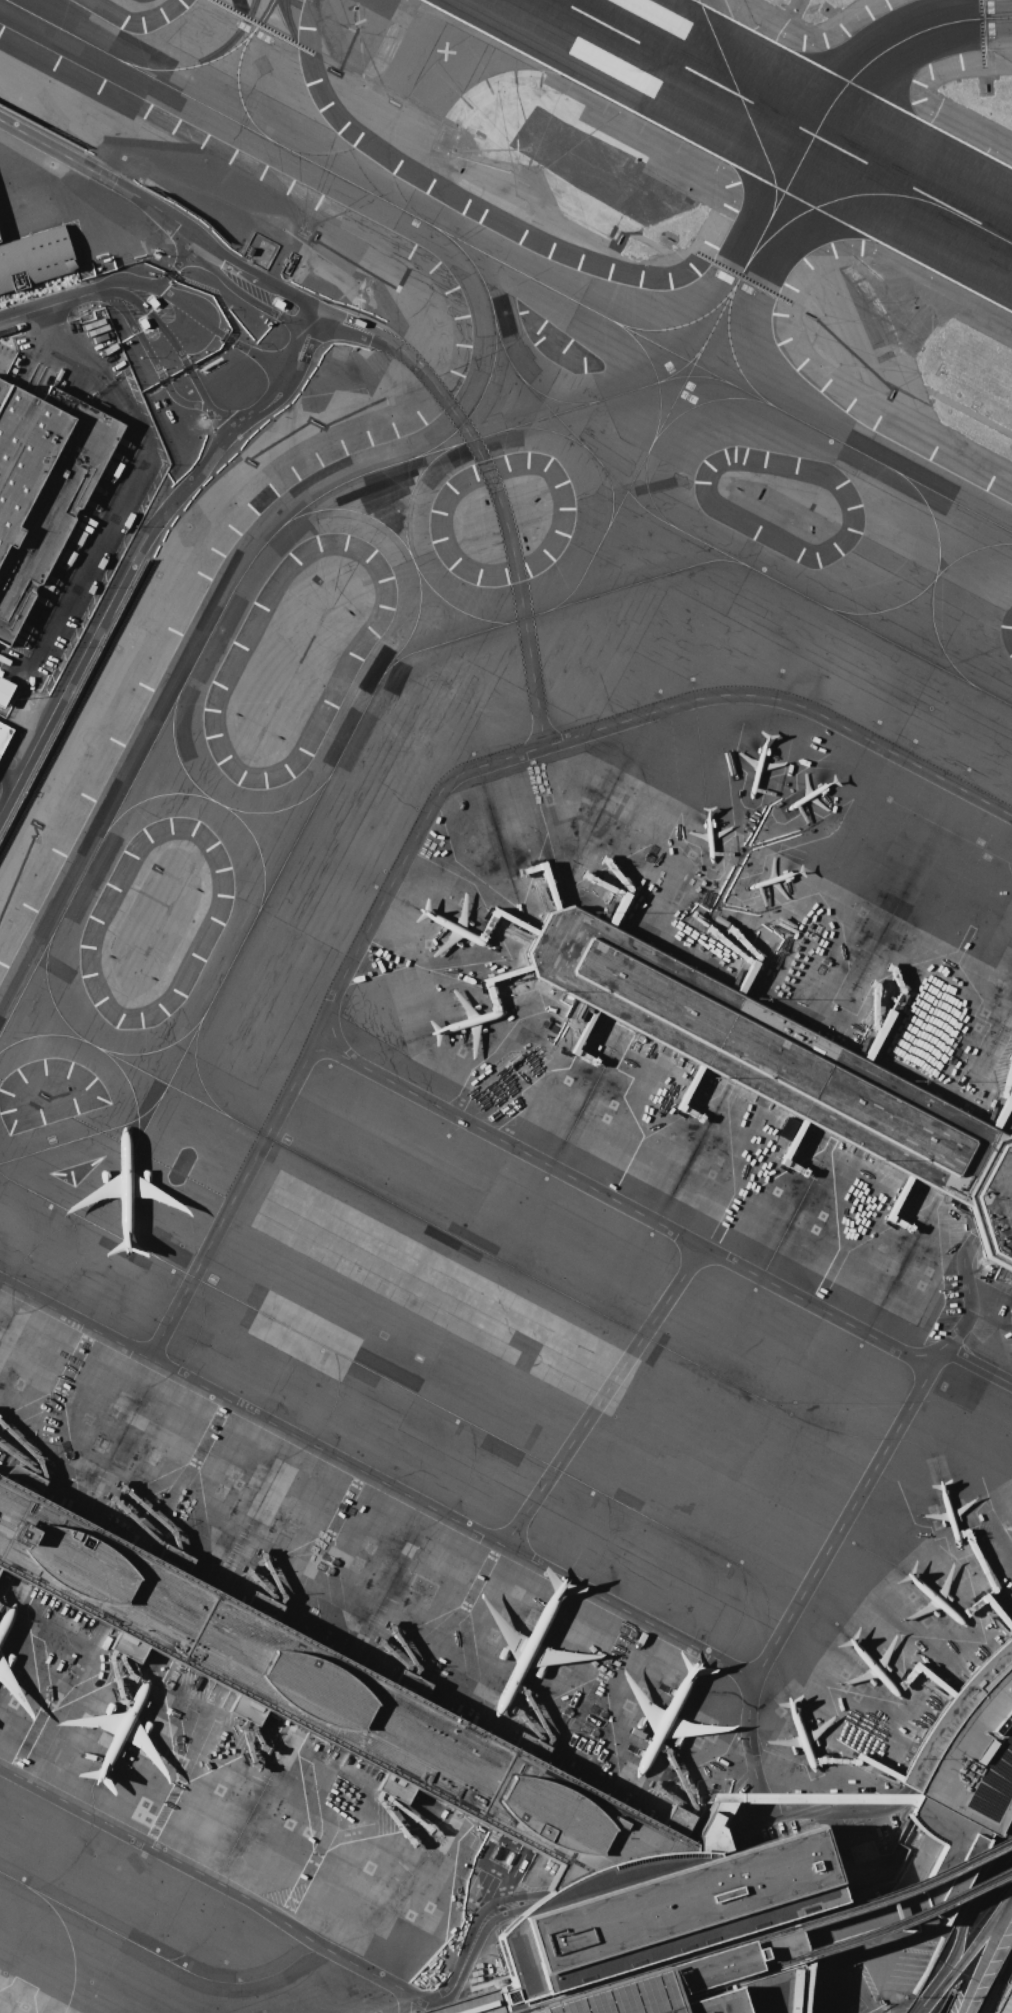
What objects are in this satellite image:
airport taxiway: (214, 59)
airport taxiway: (185, 93)
airport taxiway: (237, 95)
airport taxiway: (743, 105)
airport runway: (785, 120)
airport taxiway: (816, 130)
road: (103, 175)
airport taxiway: (838, 201)
road: (201, 245)
building: (34, 257)
road: (183, 258)
road: (128, 280)
road: (160, 280)
road: (118, 292)
road: (42, 307)
airport taxiway: (598, 314)
road: (168, 336)
road: (176, 339)
road: (73, 341)
airport taxiway: (494, 347)
road: (149, 354)
road: (257, 355)
airport taxiway: (732, 355)
airport taxiway: (689, 375)
airport taxiway: (655, 377)
airport taxiway: (551, 398)
road: (179, 400)
road: (203, 400)
airport taxiway: (543, 429)
airport taxiway: (597, 463)
airport taxiway: (632, 479)
building: (41, 484)
road: (494, 490)
airport taxiway: (647, 491)
airport taxiway: (611, 494)
airport taxiway: (401, 543)
road: (138, 550)
airport taxiway: (408, 551)
airport taxiway: (245, 569)
airport taxiway: (933, 579)
airport taxiway: (921, 590)
airport taxiway: (389, 666)
building: (4, 689)
building: (3, 734)
road: (9, 771)
airport taxiway: (218, 803)
airport taxiway: (220, 804)
road: (396, 874)
airport: (506, 1006)
airport taxiway: (204, 1013)
airport apron: (901, 1021)
airport taxiway: (102, 1050)
airport taxiway: (105, 1053)
airport terminal: (782, 1066)
building: (782, 1066)
airport taxiway: (86, 1136)
airport taxiway: (79, 1217)
airport taxiway: (531, 1277)
road: (969, 1307)
road: (832, 1315)
road: (979, 1365)
road: (602, 1397)
airport taxiway: (450, 1412)
road: (451, 1519)
airport apron: (342, 1562)
road: (121, 1585)
road: (119, 1590)
airport apron: (901, 1653)
road: (337, 1699)
road: (335, 1704)
airport terminal: (430, 1760)
building: (430, 1760)
airport terminal: (962, 1779)
building: (962, 1779)
airport apron: (221, 1780)
road: (760, 1798)
airport terminal: (797, 1799)
building: (797, 1799)
road: (763, 1808)
road: (812, 1810)
building: (860, 1851)
road: (222, 1884)
road: (968, 1899)
airport taxiway: (93, 1920)
road: (977, 1931)
railway: (763, 1933)
road: (474, 1938)
road: (909, 1944)
railway: (740, 1945)
road: (866, 1945)
railway: (815, 1949)
road: (978, 1950)
road: (982, 1952)
airport terminal: (722, 1967)
building: (722, 1967)
road: (852, 1976)
road: (993, 1978)
road: (828, 1985)
road: (999, 1988)
road: (927, 1994)
road: (405, 1998)
airport apron: (24, 1999)
building: (467, 2003)

